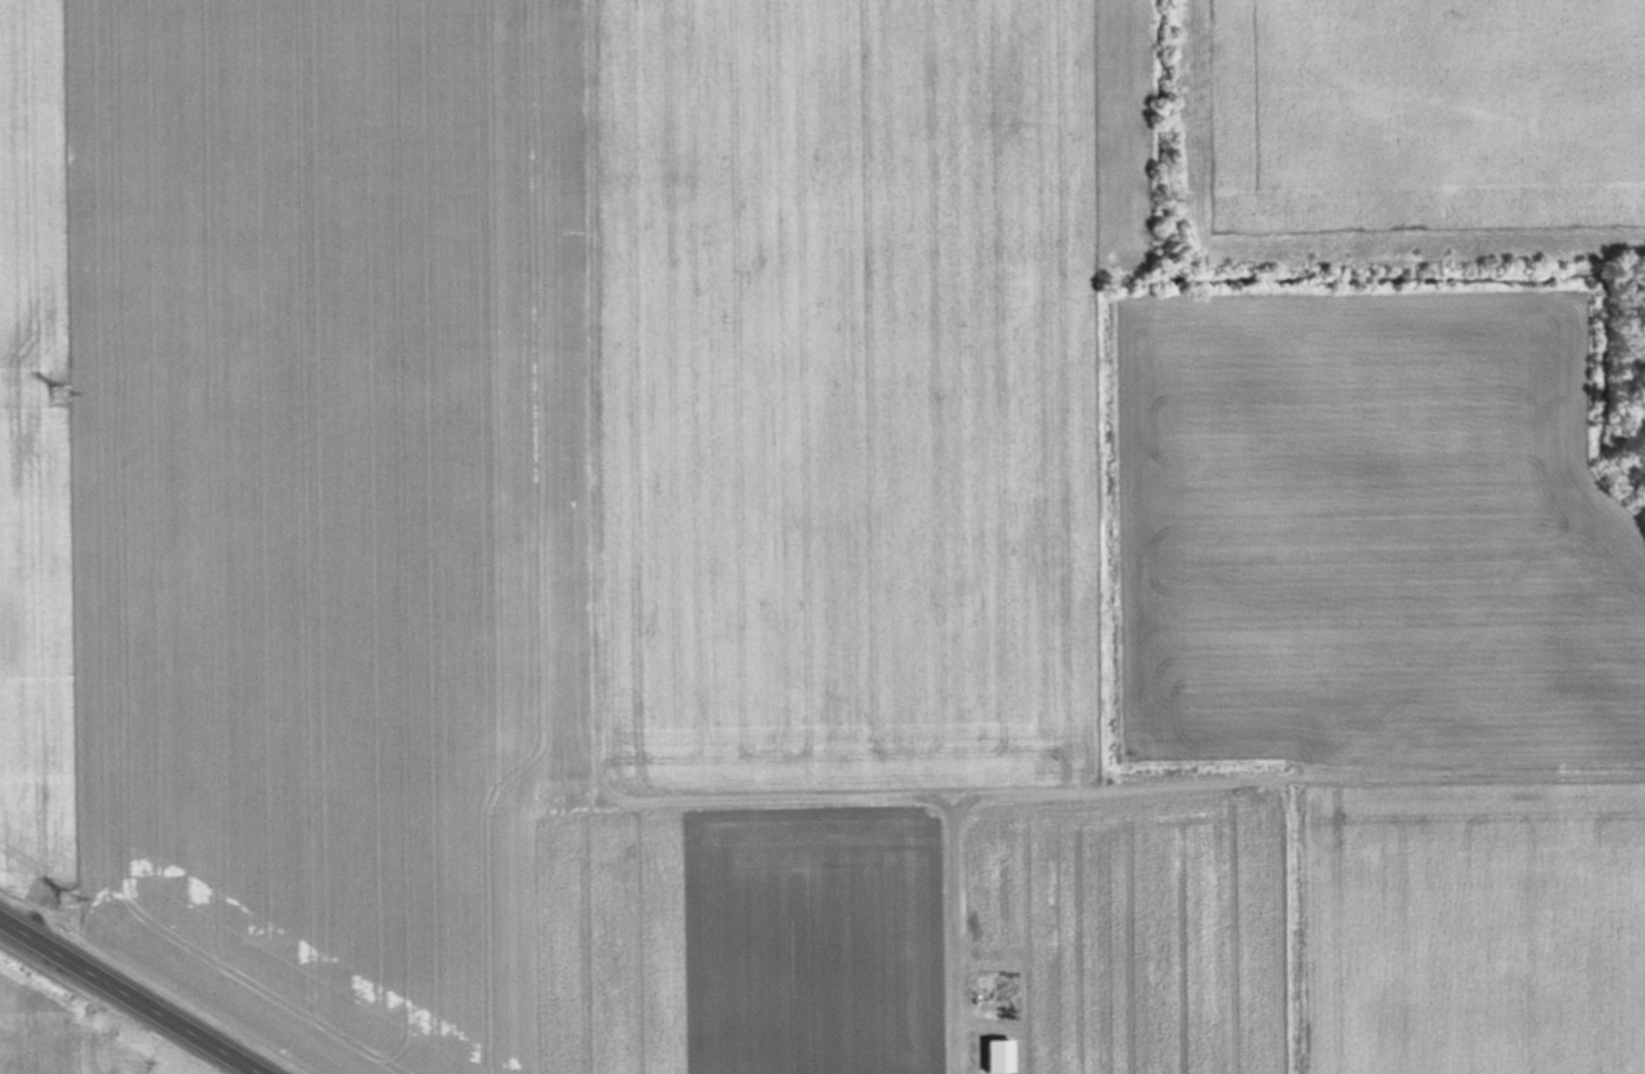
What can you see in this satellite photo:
power tower: (62, 398)
power tower: (69, 901)
road: (129, 996)

